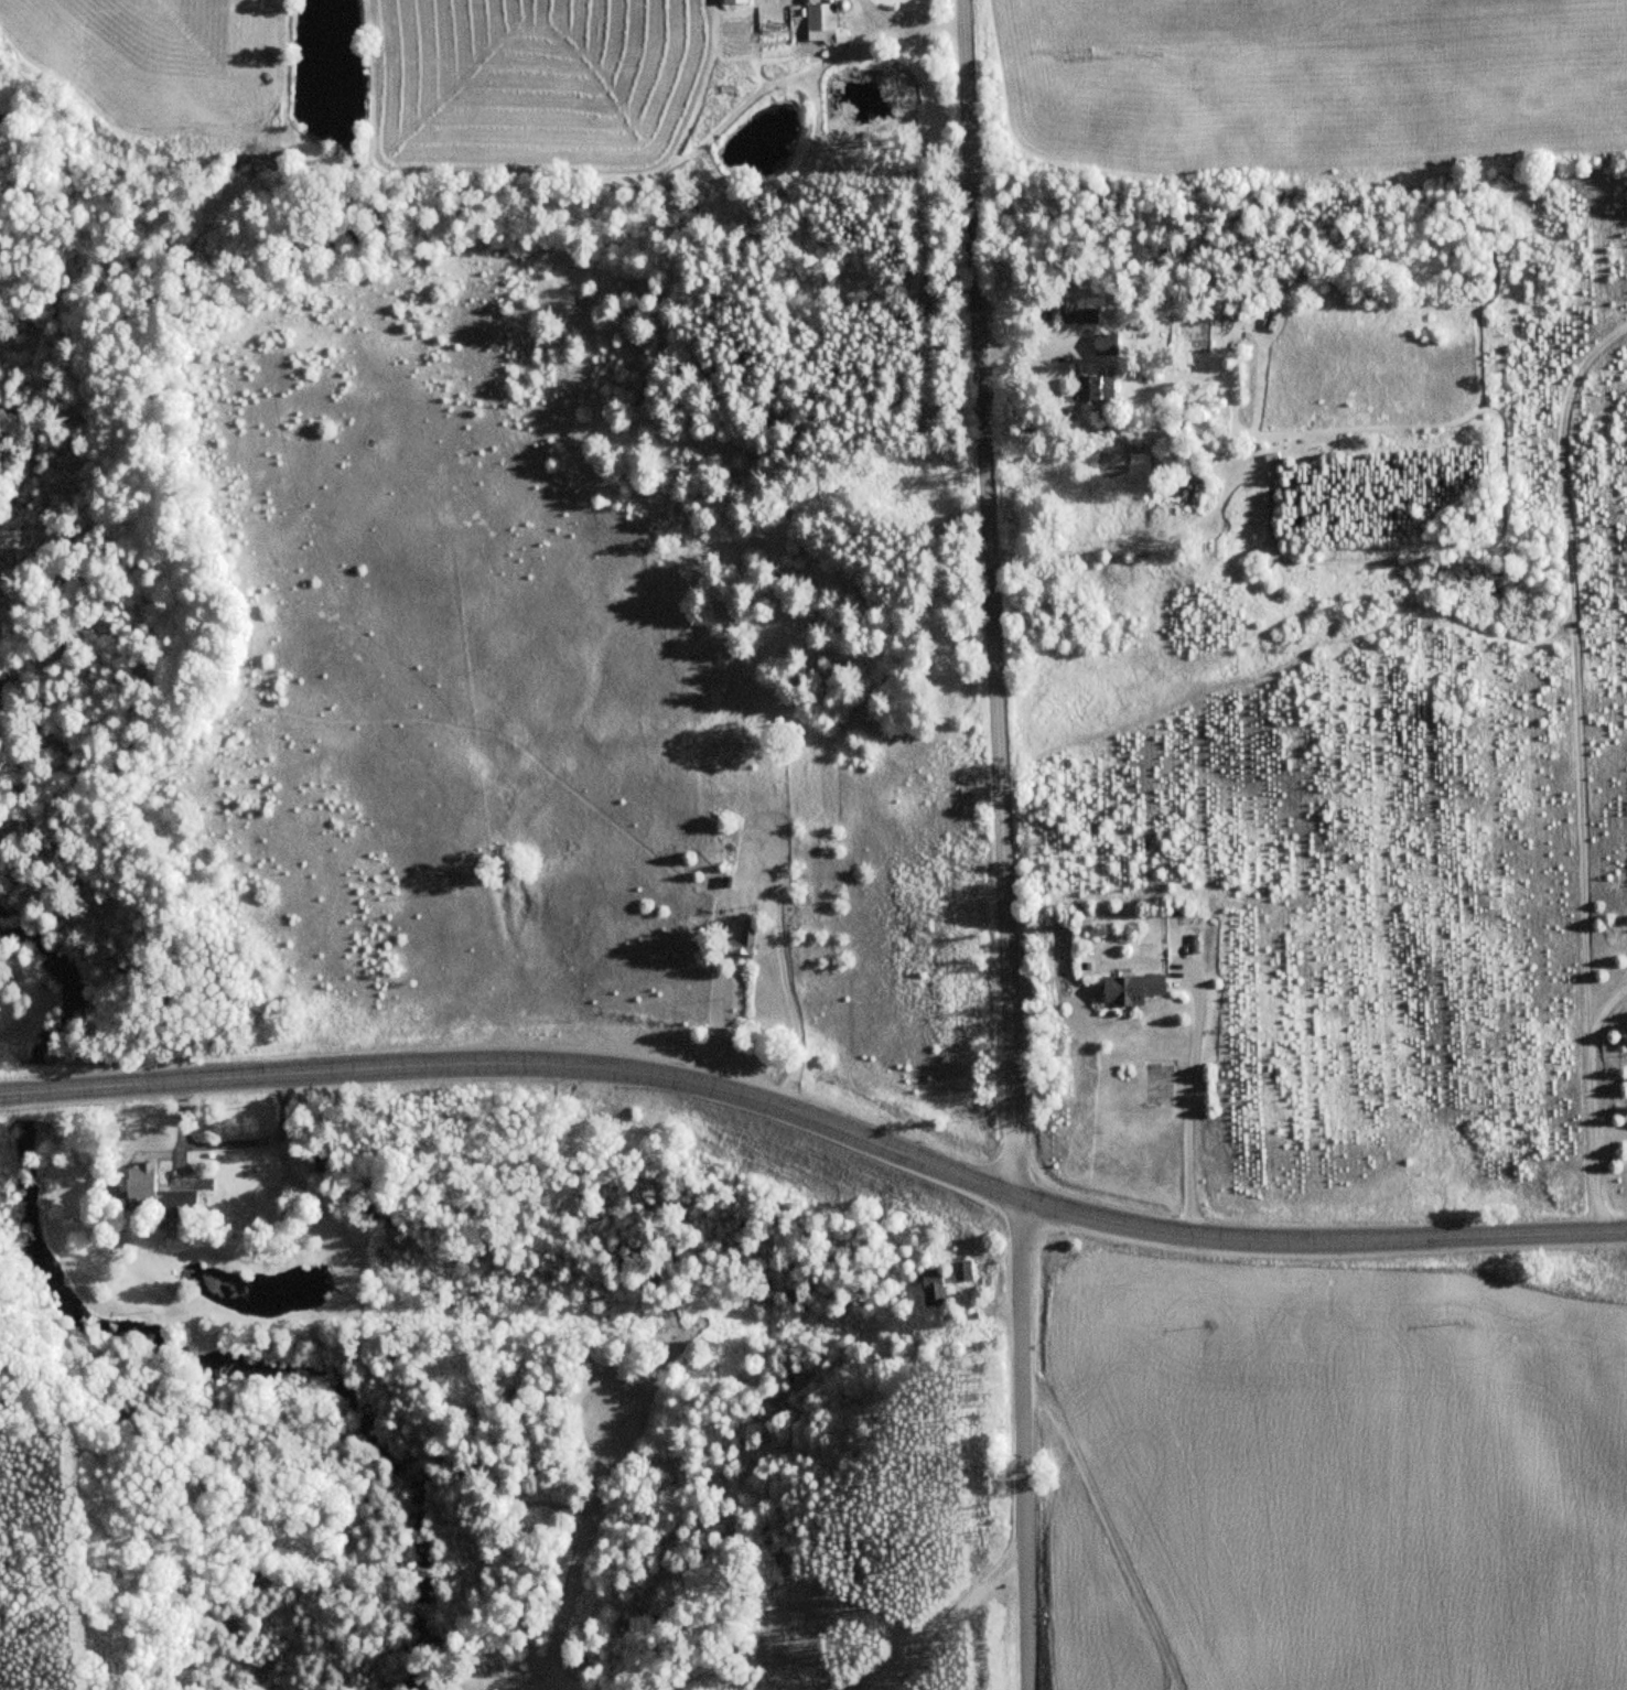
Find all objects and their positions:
building: (732, 1)
building: (813, 20)
building: (1078, 314)
building: (1105, 344)
building: (1091, 387)
building: (1192, 473)
road: (989, 598)
river: (2, 693)
building: (739, 945)
river: (68, 972)
building: (1124, 989)
river: (36, 1090)
road: (817, 1122)
building: (139, 1178)
building: (179, 1198)
building: (959, 1271)
building: (927, 1288)
river: (280, 1367)
road: (1023, 1442)
road: (1110, 1531)
road: (955, 1617)
road: (577, 1687)

